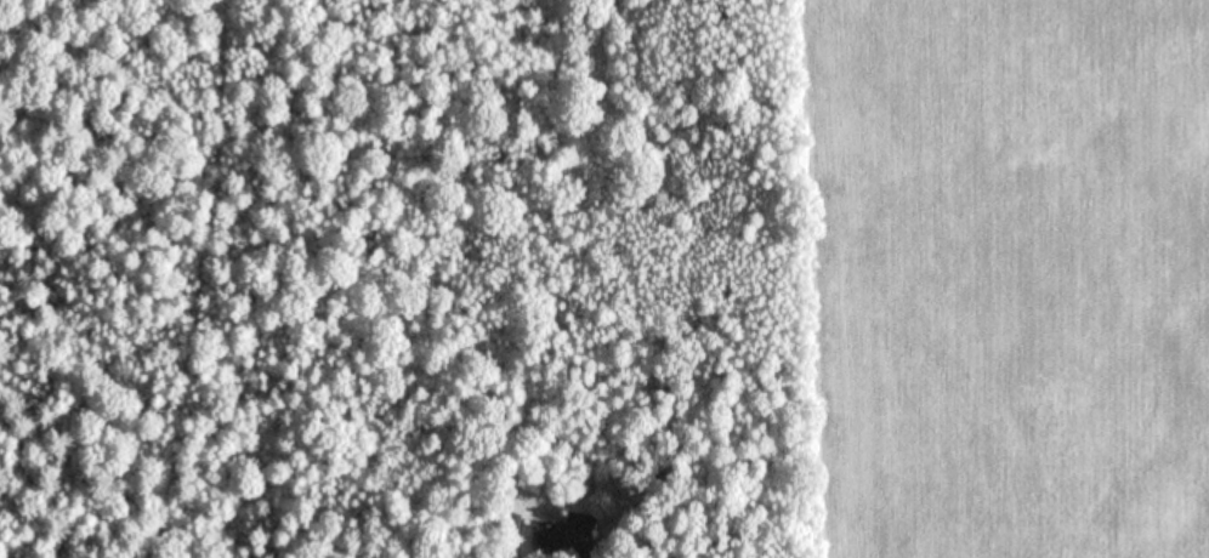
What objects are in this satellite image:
building: (561, 536)

